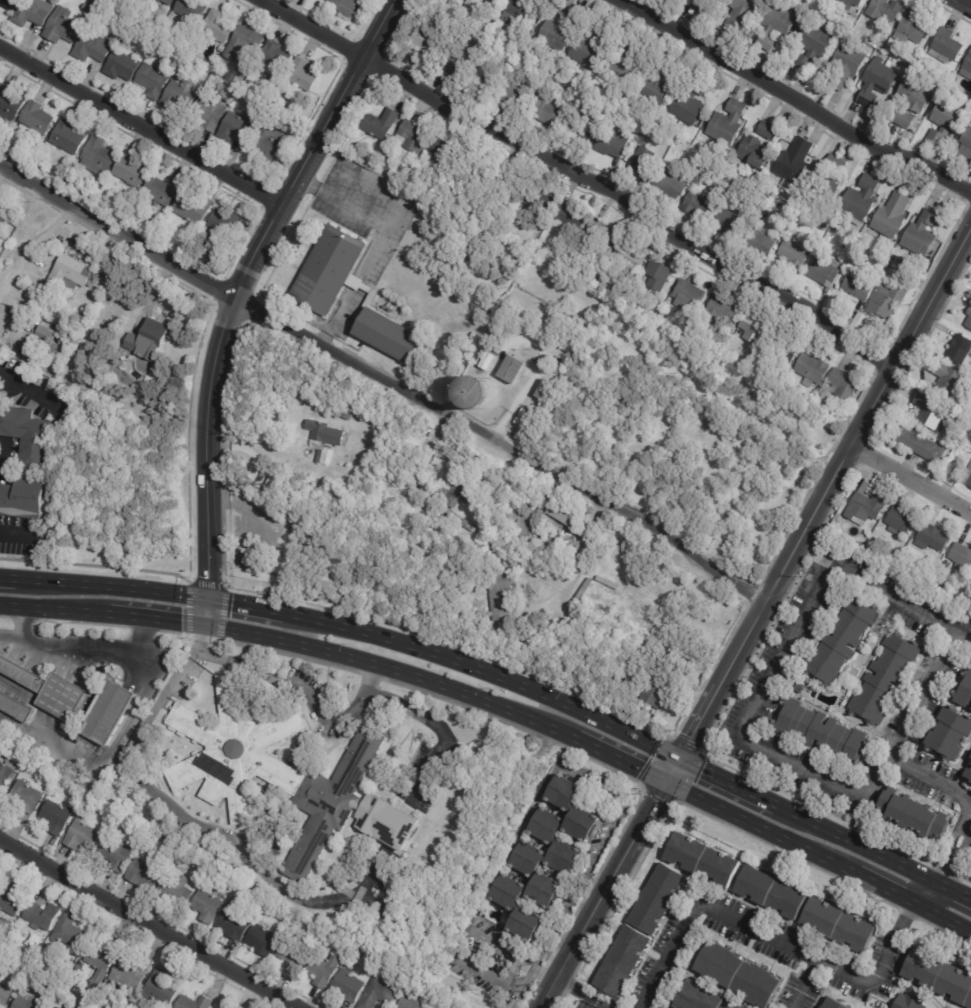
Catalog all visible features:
building: (497, 0)
road: (968, 1)
building: (97, 2)
building: (154, 2)
building: (170, 2)
building: (9, 3)
building: (693, 4)
building: (848, 4)
building: (346, 6)
building: (467, 8)
building: (88, 9)
building: (885, 9)
building: (193, 11)
building: (34, 12)
building: (126, 14)
building: (739, 14)
building: (513, 15)
building: (64, 26)
building: (774, 26)
building: (556, 27)
building: (218, 28)
building: (908, 29)
building: (426, 44)
building: (247, 46)
building: (809, 46)
building: (94, 47)
building: (945, 47)
building: (222, 48)
building: (628, 49)
building: (583, 50)
building: (276, 58)
building: (902, 61)
building: (451, 65)
building: (124, 66)
building: (845, 66)
building: (966, 68)
building: (618, 70)
building: (304, 75)
building: (233, 76)
building: (215, 77)
building: (483, 77)
building: (156, 80)
building: (874, 82)
building: (654, 83)
building: (182, 94)
building: (913, 94)
building: (512, 96)
road: (793, 100)
building: (687, 102)
building: (10, 103)
building: (211, 113)
building: (547, 113)
building: (39, 118)
building: (901, 119)
building: (945, 122)
building: (726, 124)
building: (380, 125)
road: (141, 127)
building: (239, 127)
building: (764, 130)
building: (582, 134)
building: (69, 137)
building: (410, 137)
building: (646, 138)
building: (268, 144)
building: (610, 144)
building: (965, 147)
building: (435, 148)
building: (750, 152)
building: (99, 157)
building: (40, 160)
building: (642, 161)
building: (792, 162)
building: (383, 163)
building: (475, 169)
building: (132, 170)
building: (827, 175)
road: (578, 182)
building: (667, 182)
building: (510, 187)
building: (163, 190)
building: (858, 199)
building: (537, 203)
building: (695, 205)
building: (195, 207)
building: (567, 216)
building: (890, 216)
building: (725, 222)
building: (3, 224)
building: (223, 225)
building: (599, 232)
building: (920, 234)
building: (757, 243)
building: (826, 244)
building: (792, 254)
building: (628, 260)
building: (822, 271)
building: (70, 273)
building: (657, 276)
building: (907, 277)
building: (600, 283)
building: (858, 287)
road: (232, 293)
building: (686, 294)
building: (310, 295)
building: (882, 304)
building: (718, 312)
building: (968, 318)
building: (750, 328)
building: (48, 335)
building: (474, 336)
building: (148, 340)
building: (784, 345)
building: (958, 350)
building: (485, 362)
building: (511, 370)
building: (810, 370)
road: (602, 377)
building: (948, 381)
road: (384, 382)
building: (841, 385)
parking lot: (36, 386)
road: (28, 390)
building: (542, 391)
building: (478, 392)
building: (343, 413)
road: (706, 413)
building: (930, 413)
building: (28, 436)
park: (682, 438)
building: (323, 439)
road: (430, 442)
building: (919, 446)
road: (773, 476)
road: (911, 478)
building: (967, 478)
road: (663, 490)
building: (462, 493)
building: (437, 494)
building: (27, 500)
road: (761, 507)
road: (818, 508)
building: (864, 508)
building: (557, 517)
building: (899, 520)
building: (464, 525)
building: (524, 526)
road: (14, 532)
parking lot: (20, 537)
building: (930, 538)
building: (547, 545)
building: (856, 545)
road: (582, 552)
parking lot: (721, 554)
building: (960, 557)
building: (892, 560)
road: (6, 582)
road: (109, 591)
building: (498, 596)
road: (909, 597)
traffic signals: (206, 599)
building: (661, 600)
building: (965, 603)
road: (10, 607)
road: (245, 607)
road: (62, 611)
road: (154, 621)
road: (18, 623)
traffic signals: (205, 627)
road: (8, 636)
building: (839, 640)
road: (93, 652)
road: (393, 671)
building: (701, 672)
building: (23, 673)
road: (486, 675)
building: (883, 678)
road: (299, 686)
building: (798, 687)
building: (651, 693)
building: (965, 693)
building: (65, 696)
road: (750, 704)
building: (16, 706)
building: (111, 711)
road: (442, 731)
building: (817, 731)
road: (903, 731)
building: (949, 733)
road: (105, 753)
building: (970, 757)
traffic signals: (680, 760)
road: (621, 761)
building: (269, 769)
building: (6, 774)
building: (968, 775)
road: (876, 780)
road: (727, 782)
traffic signals: (666, 785)
road: (540, 792)
building: (27, 796)
building: (574, 808)
building: (910, 814)
building: (58, 816)
road: (205, 829)
road: (759, 831)
building: (84, 836)
building: (557, 842)
road: (854, 844)
road: (953, 850)
building: (119, 853)
building: (530, 859)
building: (702, 860)
building: (202, 866)
building: (146, 873)
building: (553, 889)
road: (953, 889)
building: (178, 890)
building: (254, 892)
building: (770, 893)
road: (884, 894)
road: (926, 895)
road: (604, 896)
building: (11, 897)
building: (209, 906)
building: (521, 907)
building: (289, 913)
building: (43, 915)
building: (235, 921)
road: (149, 923)
road: (943, 923)
building: (6, 925)
building: (836, 926)
building: (639, 930)
building: (70, 932)
building: (264, 940)
road: (488, 941)
road: (774, 942)
building: (10, 945)
building: (344, 951)
building: (356, 952)
building: (294, 954)
building: (103, 962)
building: (59, 964)
building: (324, 969)
road: (509, 969)
building: (735, 973)
building: (130, 975)
building: (0, 977)
building: (938, 977)
road: (807, 985)
building: (351, 986)
building: (163, 989)
building: (6, 994)
building: (379, 994)
road: (581, 994)
building: (702, 997)
building: (908, 1001)
building: (27, 1002)
building: (196, 1002)
building: (412, 1003)
building: (830, 1004)
building: (439, 1005)
building: (59, 1006)
building: (233, 1007)
building: (236, 1007)

